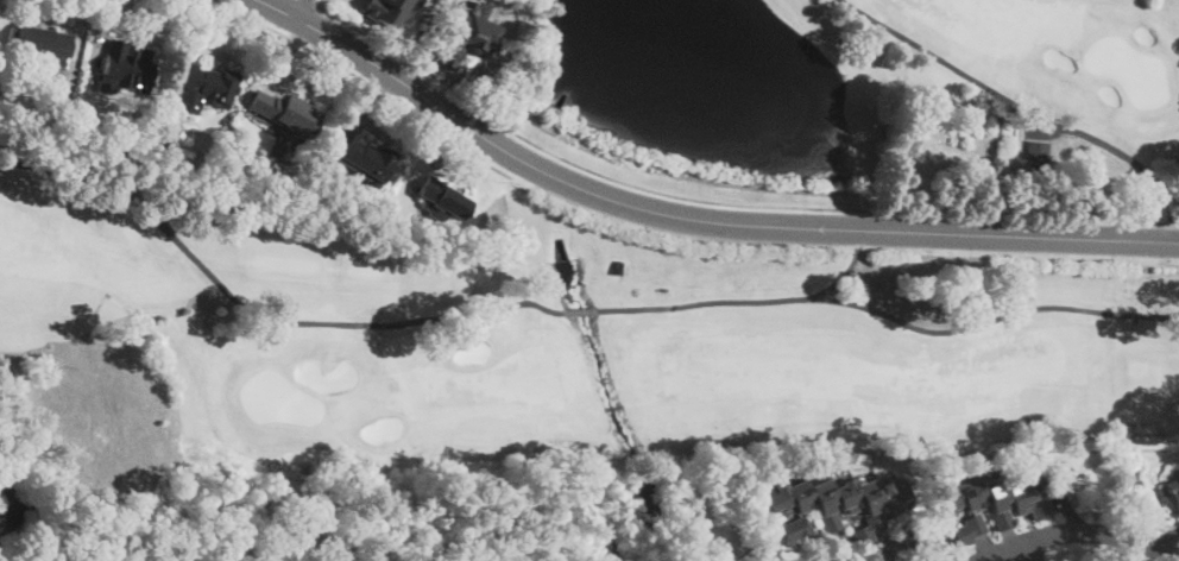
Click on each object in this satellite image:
road: (316, 0)
road: (300, 8)
building: (387, 11)
road: (106, 29)
road: (77, 33)
building: (473, 37)
building: (44, 45)
building: (127, 65)
road: (360, 76)
park: (1019, 77)
building: (201, 86)
building: (285, 112)
building: (1036, 150)
building: (362, 158)
building: (443, 197)
road: (721, 201)
road: (691, 219)
building: (618, 267)
park: (549, 332)
building: (1174, 491)
building: (990, 498)
building: (834, 506)
building: (967, 530)
road: (1090, 532)
building: (913, 535)
building: (120, 554)

